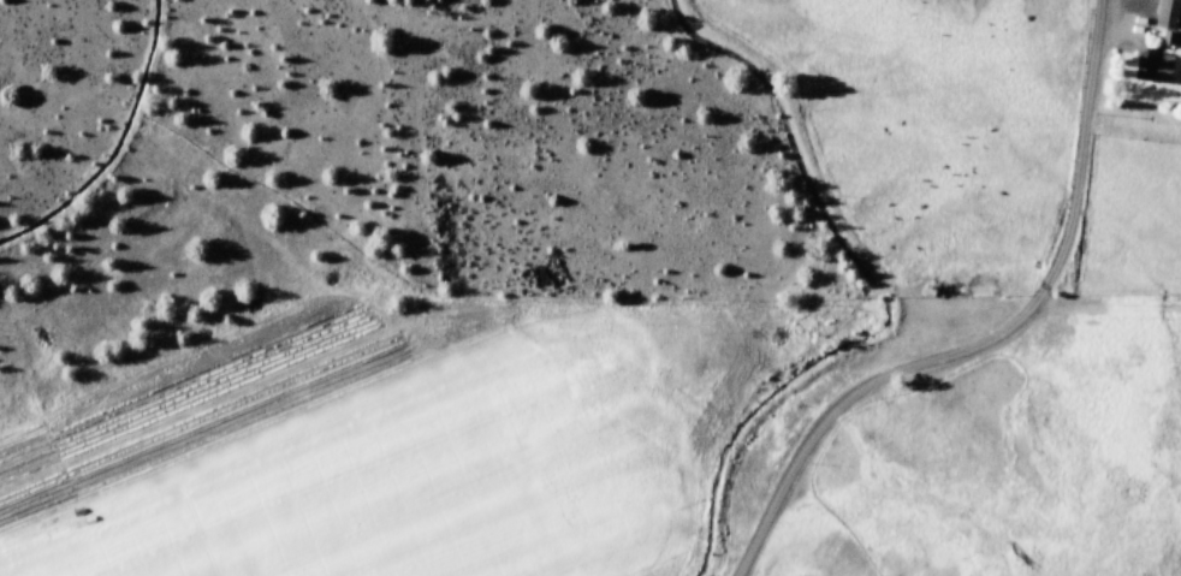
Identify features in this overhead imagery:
building: (1169, 14)
building: (1169, 40)
building: (1156, 69)
road: (1003, 340)

